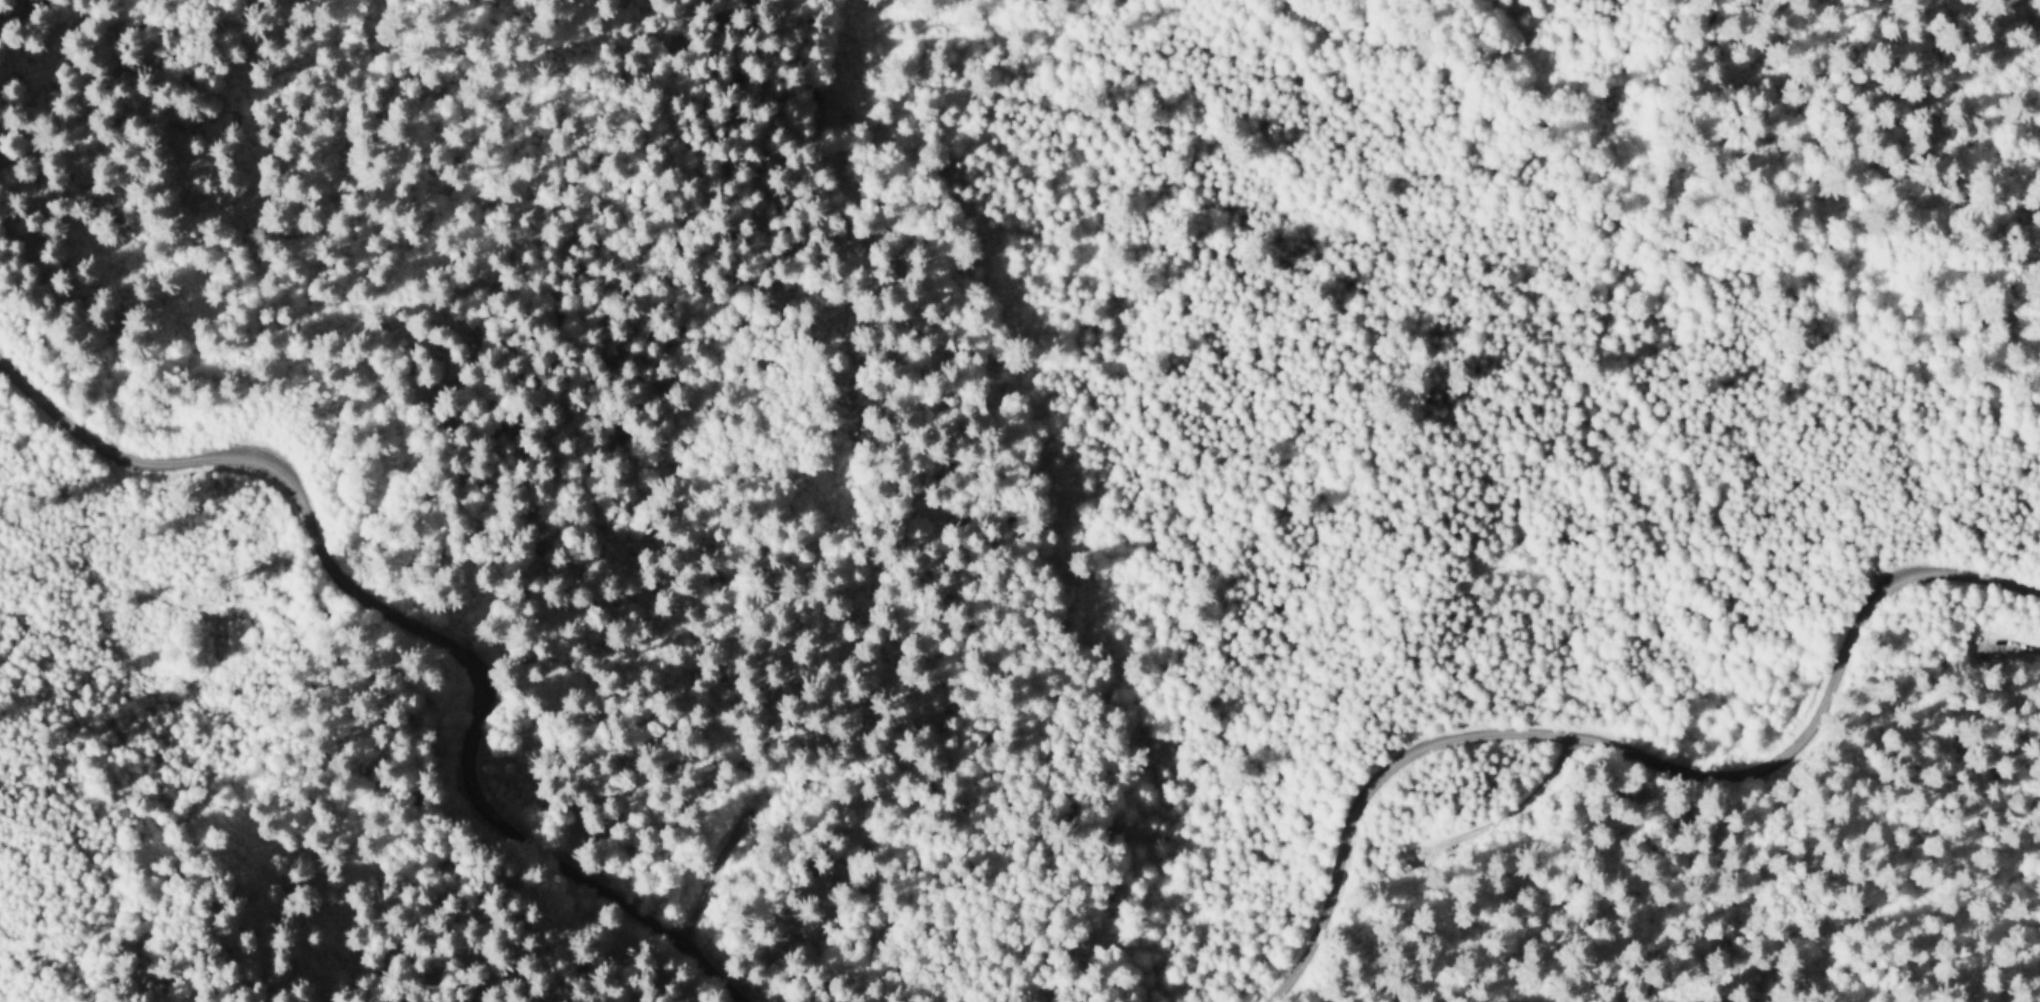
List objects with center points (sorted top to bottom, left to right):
road: (415, 631)
road: (1643, 763)

